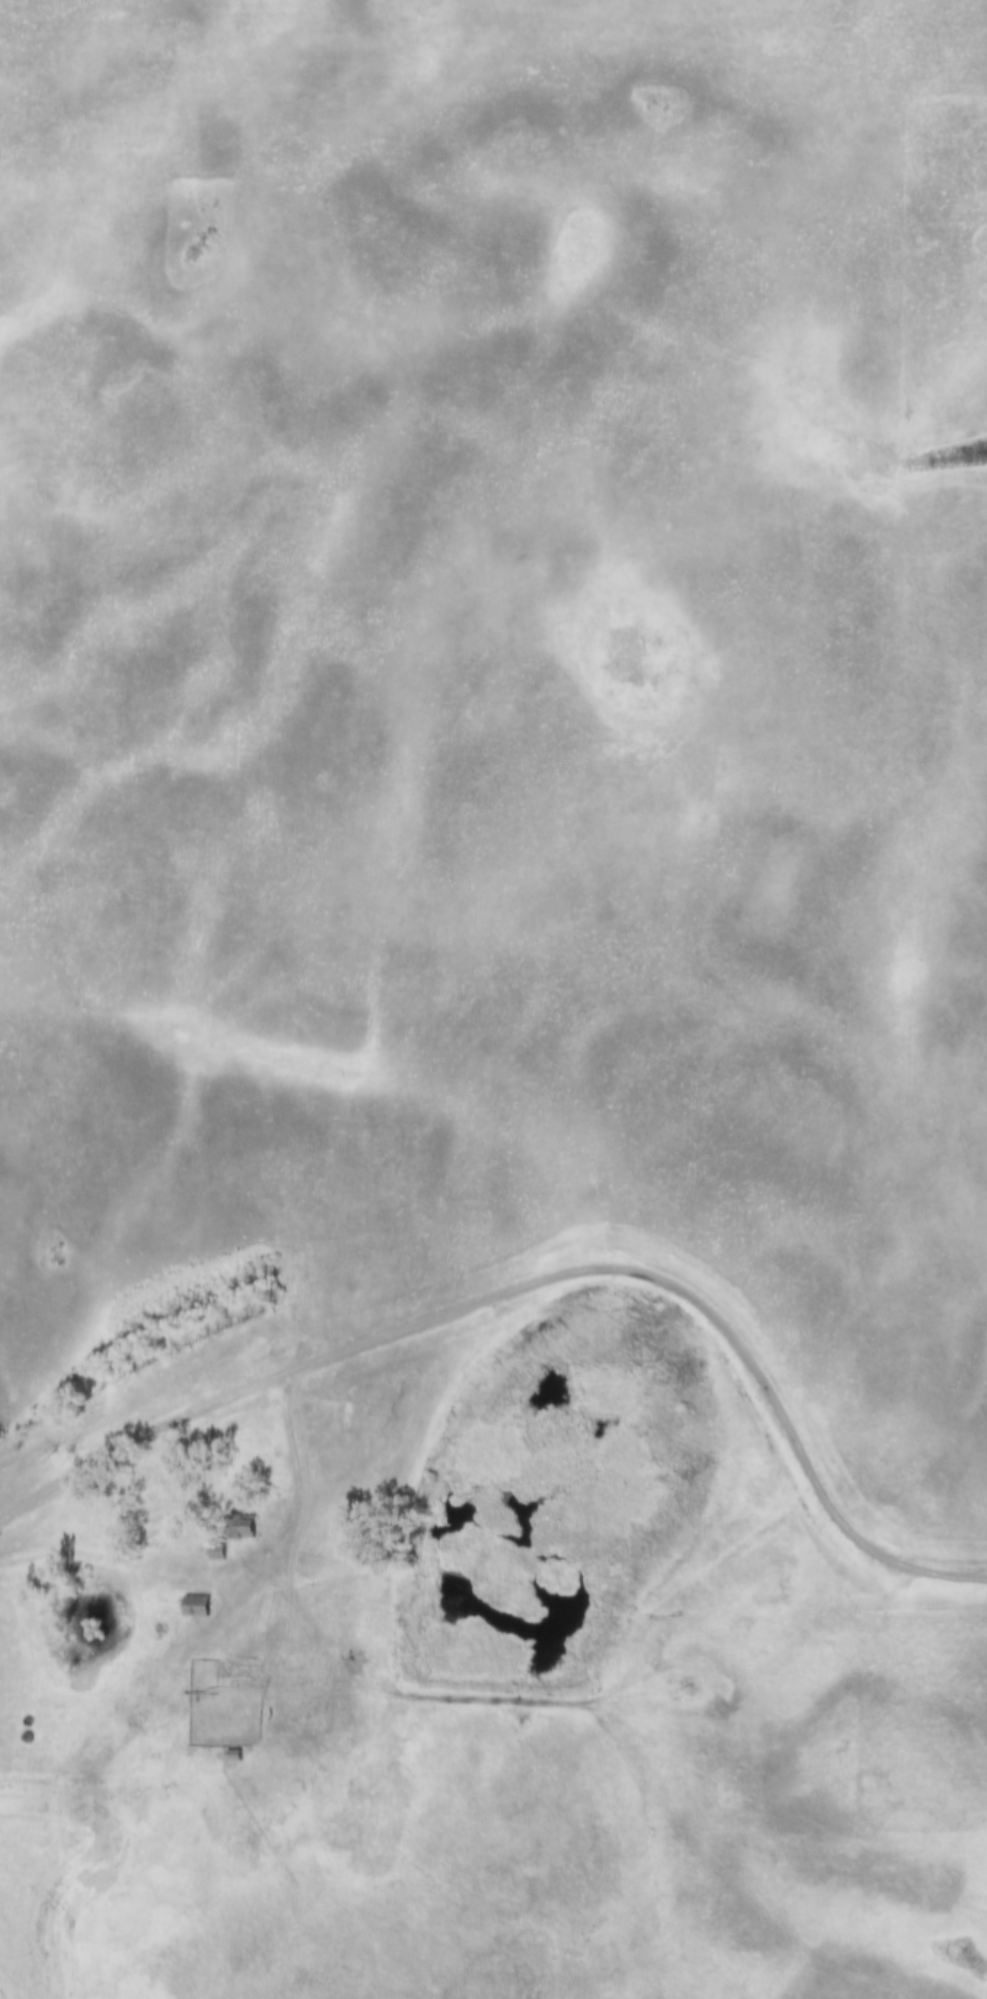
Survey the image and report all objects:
road: (701, 1302)
road: (145, 1438)
road: (299, 1466)
building: (244, 1527)
building: (217, 1554)
building: (196, 1607)
building: (233, 1756)
road: (9, 1983)

